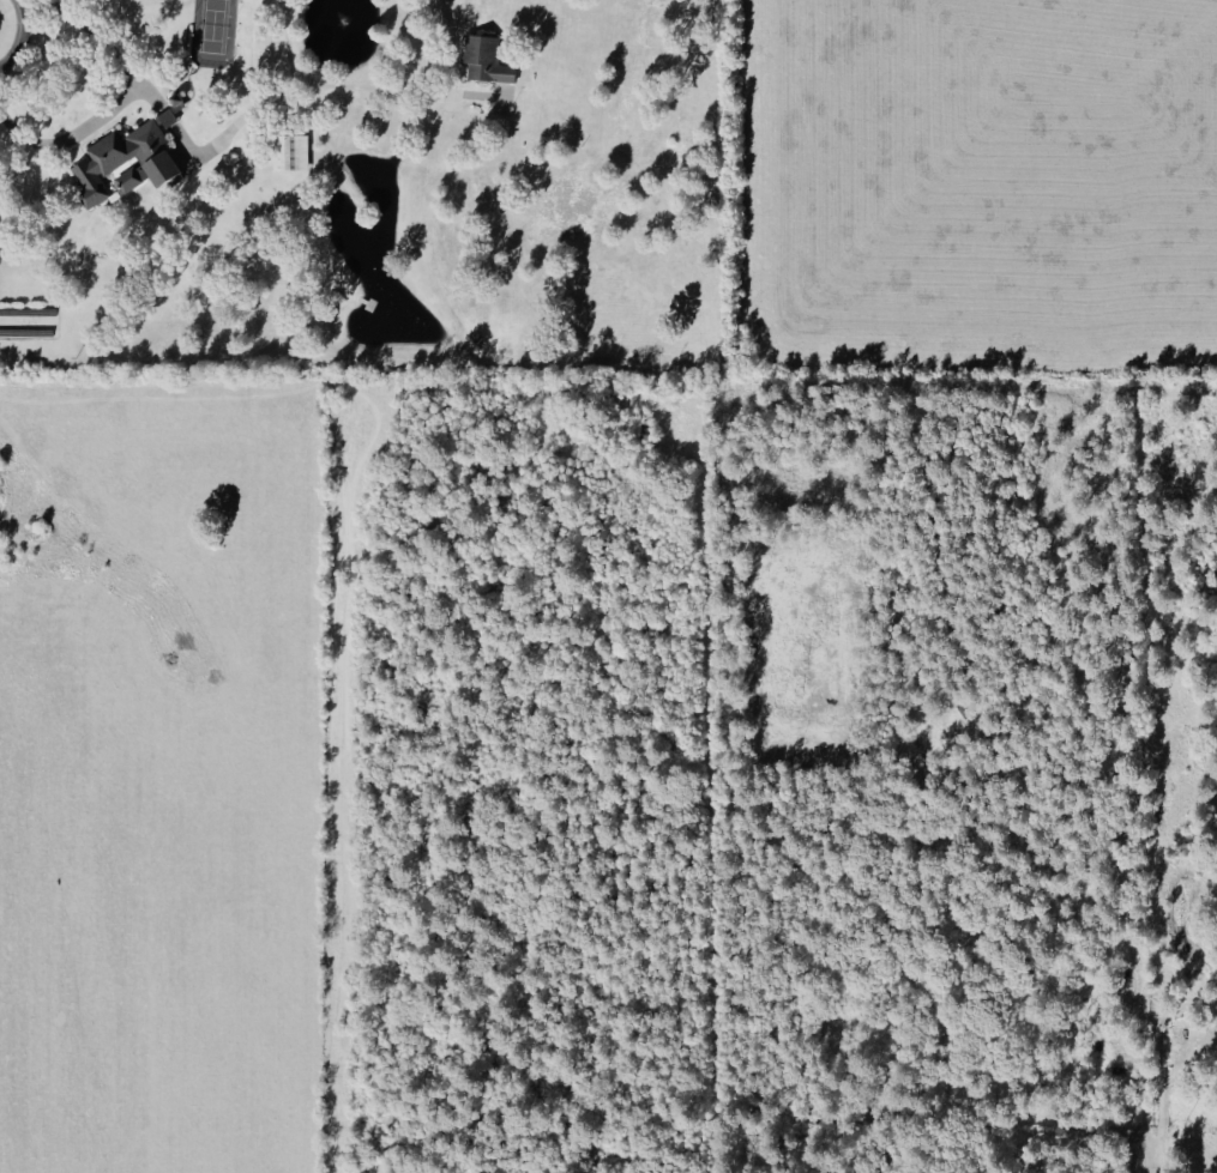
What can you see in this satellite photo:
road: (20, 36)
building: (486, 61)
road: (356, 85)
road: (128, 92)
road: (248, 115)
building: (290, 153)
building: (128, 158)

